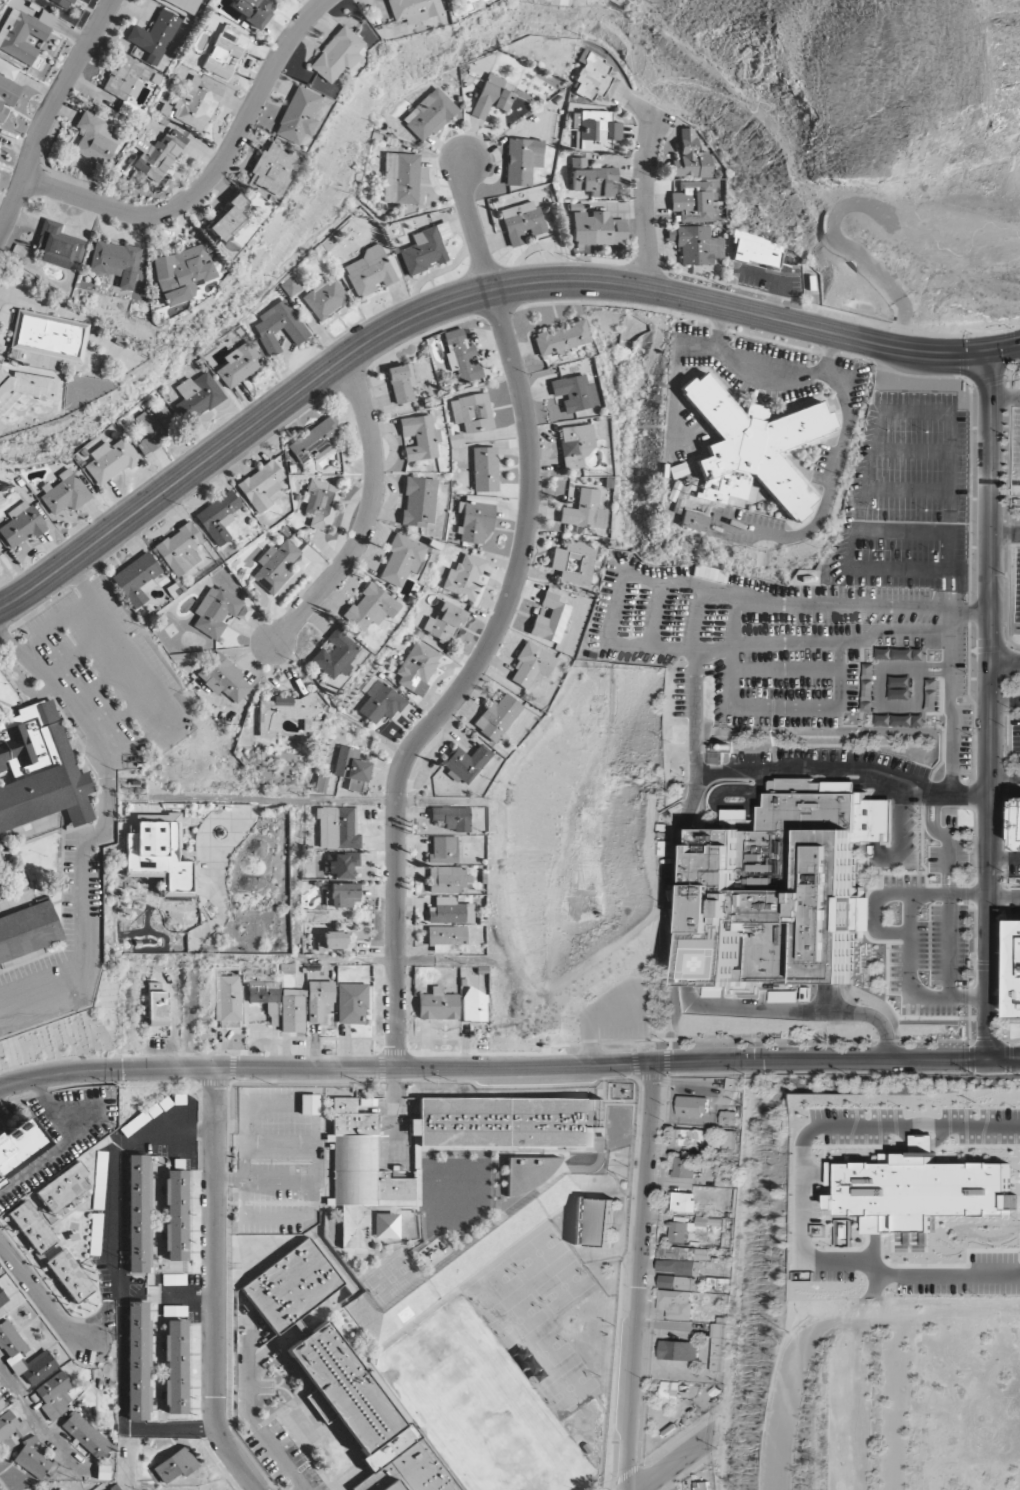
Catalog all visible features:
building: (614, 0)
building: (63, 3)
building: (186, 4)
building: (463, 6)
building: (413, 9)
building: (24, 33)
building: (154, 36)
building: (225, 51)
building: (337, 55)
building: (7, 69)
building: (126, 77)
building: (594, 77)
building: (7, 95)
building: (491, 97)
building: (196, 103)
road: (49, 114)
building: (431, 114)
building: (298, 115)
building: (595, 130)
building: (95, 139)
building: (158, 154)
building: (691, 157)
building: (522, 160)
building: (273, 168)
road: (214, 174)
building: (402, 177)
building: (592, 179)
road: (644, 201)
building: (695, 202)
building: (229, 218)
building: (521, 221)
building: (598, 229)
building: (696, 244)
building: (57, 245)
building: (426, 248)
building: (757, 249)
building: (116, 261)
building: (370, 270)
building: (182, 273)
building: (325, 298)
road: (467, 298)
building: (279, 327)
building: (562, 338)
traffic signals: (991, 350)
road: (827, 355)
building: (461, 356)
building: (239, 364)
building: (401, 383)
building: (25, 388)
building: (574, 393)
building: (197, 395)
building: (473, 412)
road: (845, 414)
building: (153, 428)
building: (420, 437)
building: (314, 441)
building: (757, 443)
building: (576, 445)
building: (111, 460)
building: (485, 469)
building: (261, 486)
building: (65, 492)
building: (419, 501)
building: (320, 503)
road: (992, 505)
building: (585, 510)
road: (369, 515)
building: (218, 516)
building: (475, 520)
building: (694, 521)
building: (21, 525)
road: (1006, 533)
building: (180, 549)
building: (400, 560)
building: (574, 562)
building: (275, 567)
building: (464, 577)
building: (137, 579)
building: (371, 607)
building: (218, 612)
building: (550, 619)
building: (445, 622)
road: (499, 624)
road: (57, 626)
road: (81, 651)
parking lot: (798, 653)
building: (900, 653)
building: (336, 655)
road: (1005, 661)
building: (417, 665)
building: (531, 665)
road: (149, 672)
building: (224, 678)
road: (105, 679)
road: (21, 683)
building: (868, 687)
building: (900, 687)
road: (1005, 700)
building: (381, 702)
building: (932, 705)
road: (126, 708)
building: (286, 713)
building: (497, 717)
road: (694, 761)
building: (466, 762)
building: (351, 767)
building: (40, 769)
road: (741, 771)
road: (874, 772)
road: (1005, 778)
road: (318, 800)
building: (169, 817)
building: (452, 818)
road: (729, 819)
building: (338, 828)
road: (105, 833)
building: (444, 849)
building: (158, 857)
road: (989, 860)
building: (341, 865)
building: (447, 879)
building: (789, 886)
building: (344, 894)
road: (1004, 895)
building: (450, 911)
road: (878, 912)
building: (27, 930)
building: (448, 939)
building: (333, 940)
road: (911, 944)
road: (949, 945)
road: (393, 959)
helipad: (724, 961)
building: (1018, 972)
building: (265, 996)
building: (228, 998)
building: (319, 999)
building: (352, 1003)
building: (158, 1005)
building: (438, 1005)
building: (474, 1006)
building: (293, 1010)
road: (193, 1012)
road: (1004, 1060)
road: (493, 1067)
building: (309, 1104)
building: (692, 1105)
road: (981, 1113)
building: (727, 1118)
building: (687, 1137)
building: (728, 1139)
road: (66, 1143)
building: (19, 1145)
building: (889, 1157)
road: (118, 1166)
building: (682, 1167)
building: (528, 1173)
building: (376, 1176)
building: (63, 1187)
building: (918, 1191)
building: (683, 1201)
building: (138, 1214)
building: (176, 1215)
building: (598, 1221)
building: (385, 1226)
building: (32, 1227)
building: (687, 1227)
building: (683, 1253)
building: (679, 1266)
road: (638, 1275)
building: (69, 1276)
building: (675, 1281)
building: (721, 1284)
road: (216, 1286)
road: (42, 1297)
building: (2, 1298)
road: (189, 1299)
building: (675, 1303)
road: (105, 1312)
building: (716, 1347)
building: (677, 1350)
building: (12, 1353)
building: (138, 1361)
building: (176, 1367)
building: (343, 1375)
building: (0, 1388)
building: (669, 1390)
building: (54, 1394)
building: (1, 1404)
road: (124, 1404)
park: (479, 1406)
road: (903, 1406)
road: (249, 1412)
building: (12, 1426)
road: (46, 1431)
building: (86, 1435)
building: (31, 1459)
road: (672, 1463)
building: (175, 1465)
building: (115, 1488)
building: (61, 1489)

